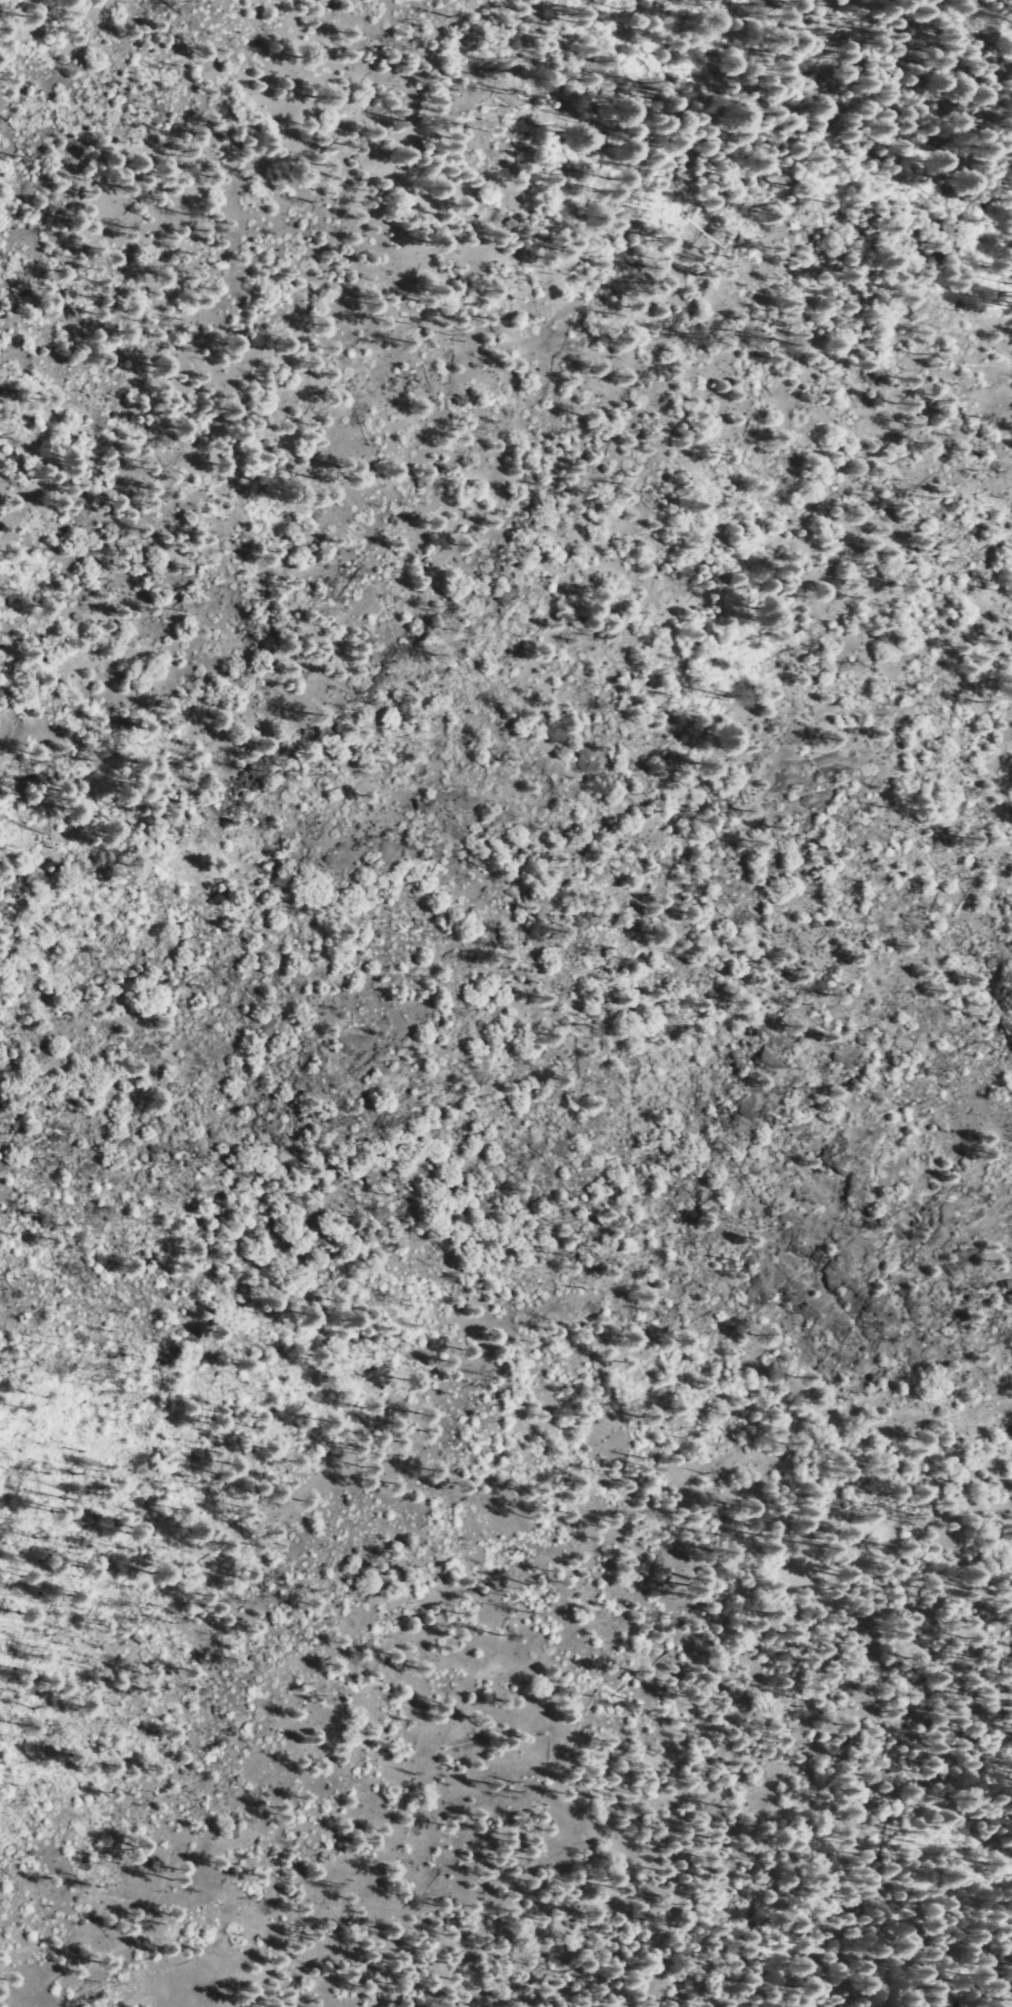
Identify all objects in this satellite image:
road: (730, 1809)

